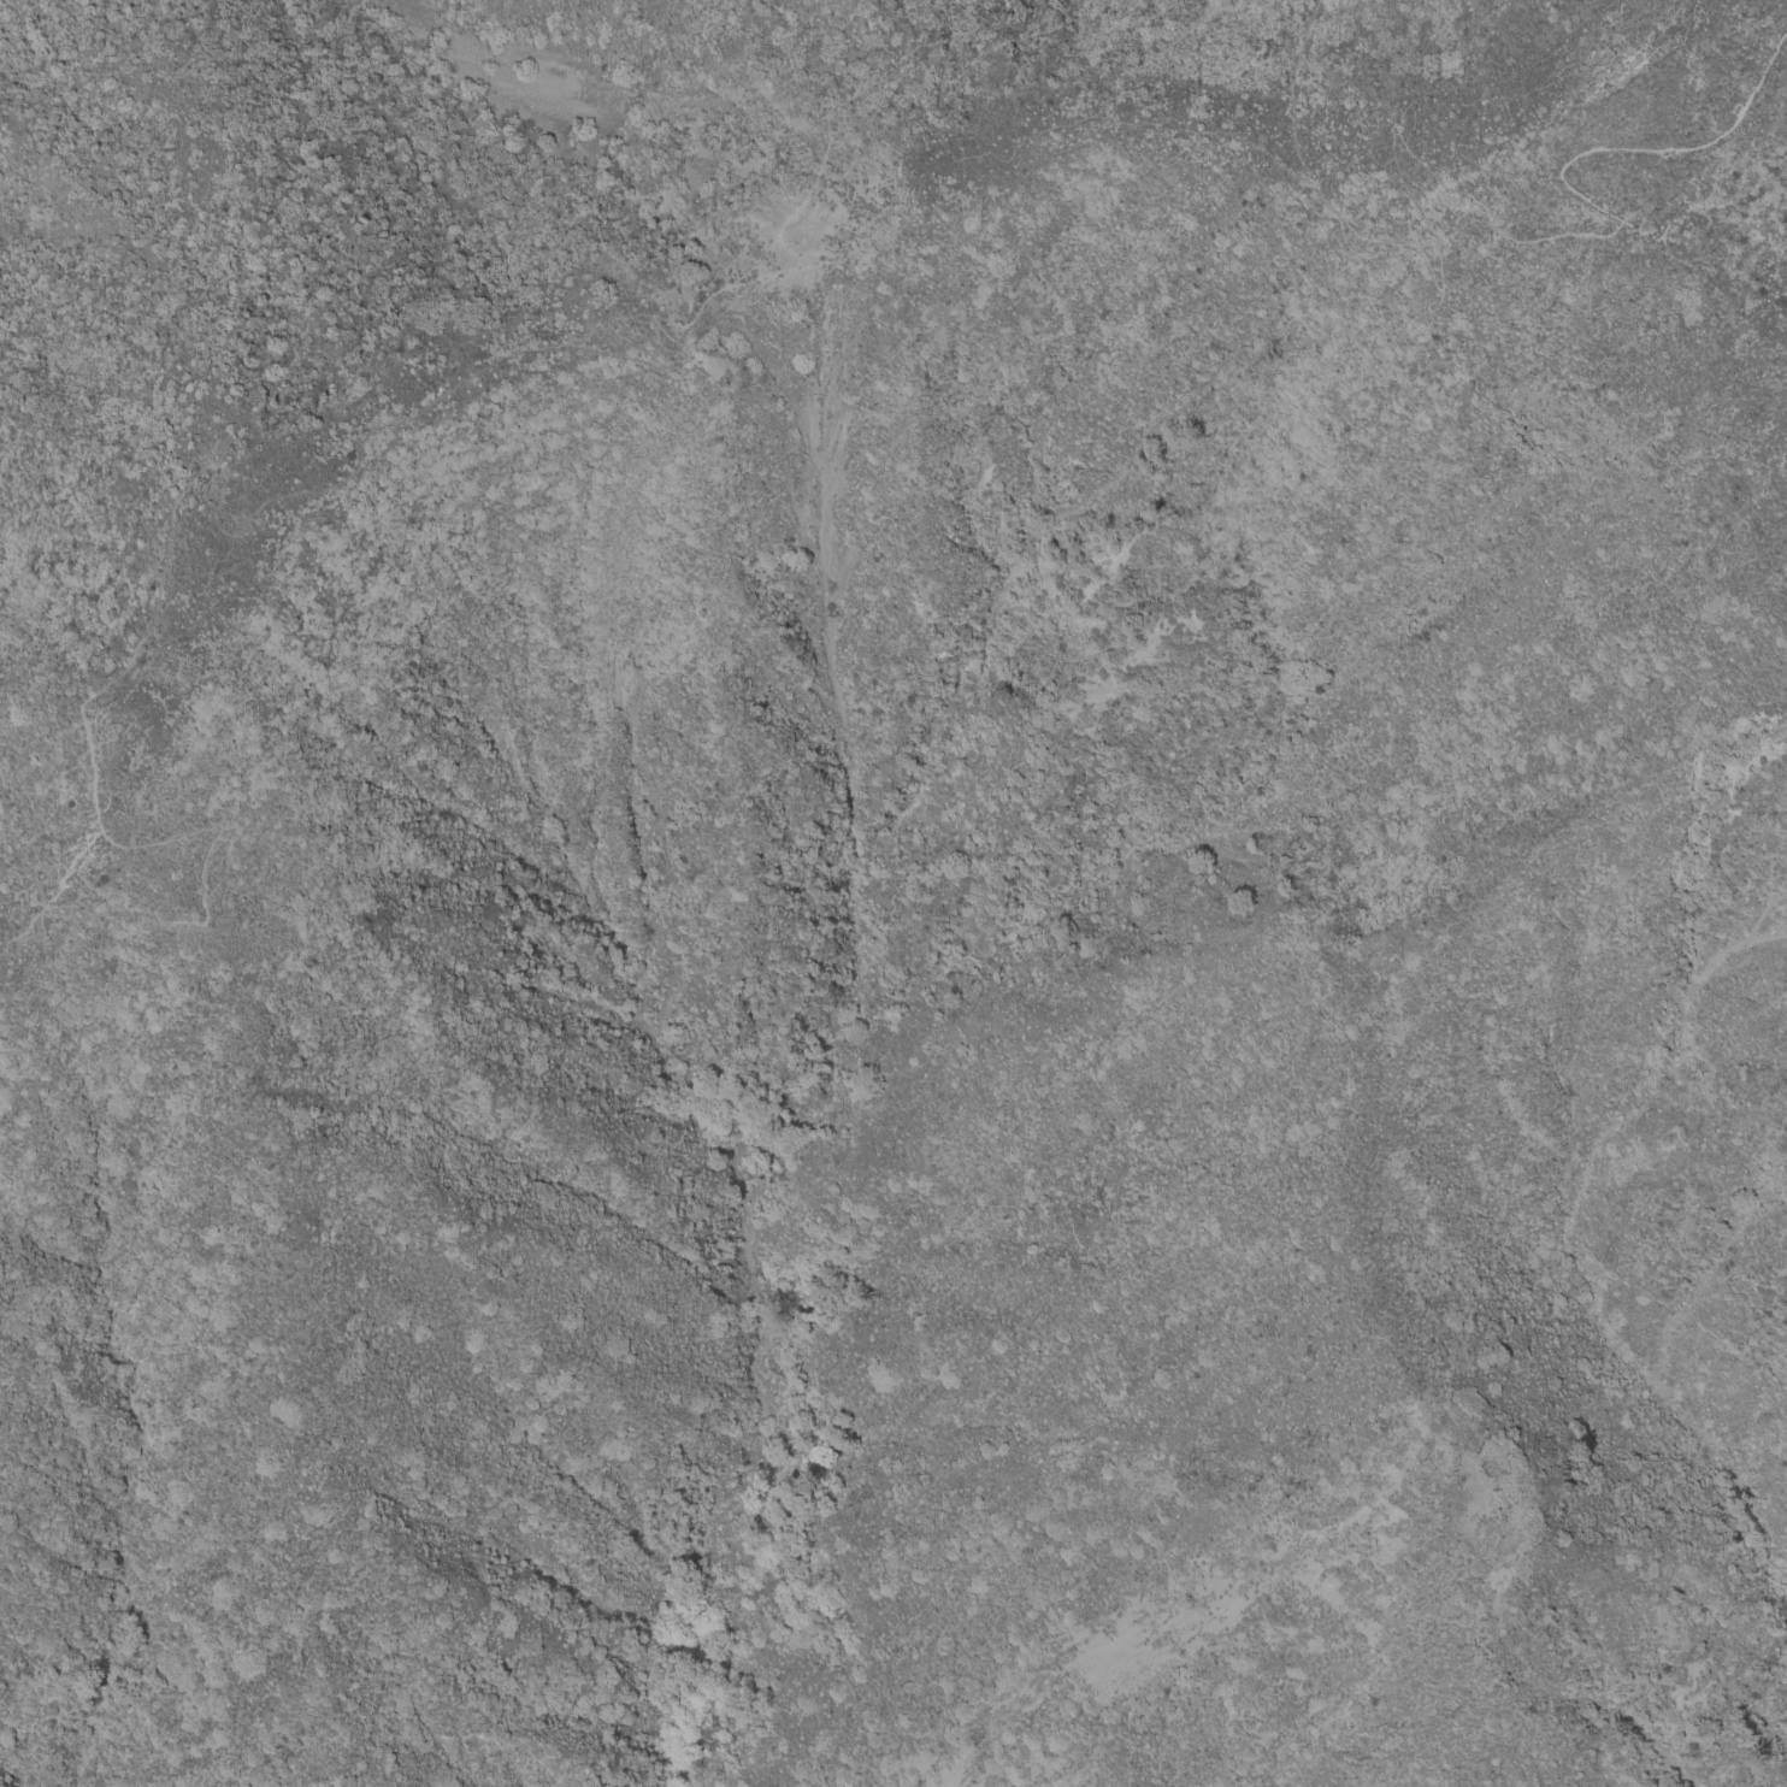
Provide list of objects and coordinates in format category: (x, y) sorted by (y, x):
road: (1432, 188)
road: (361, 436)
road: (30, 1050)

